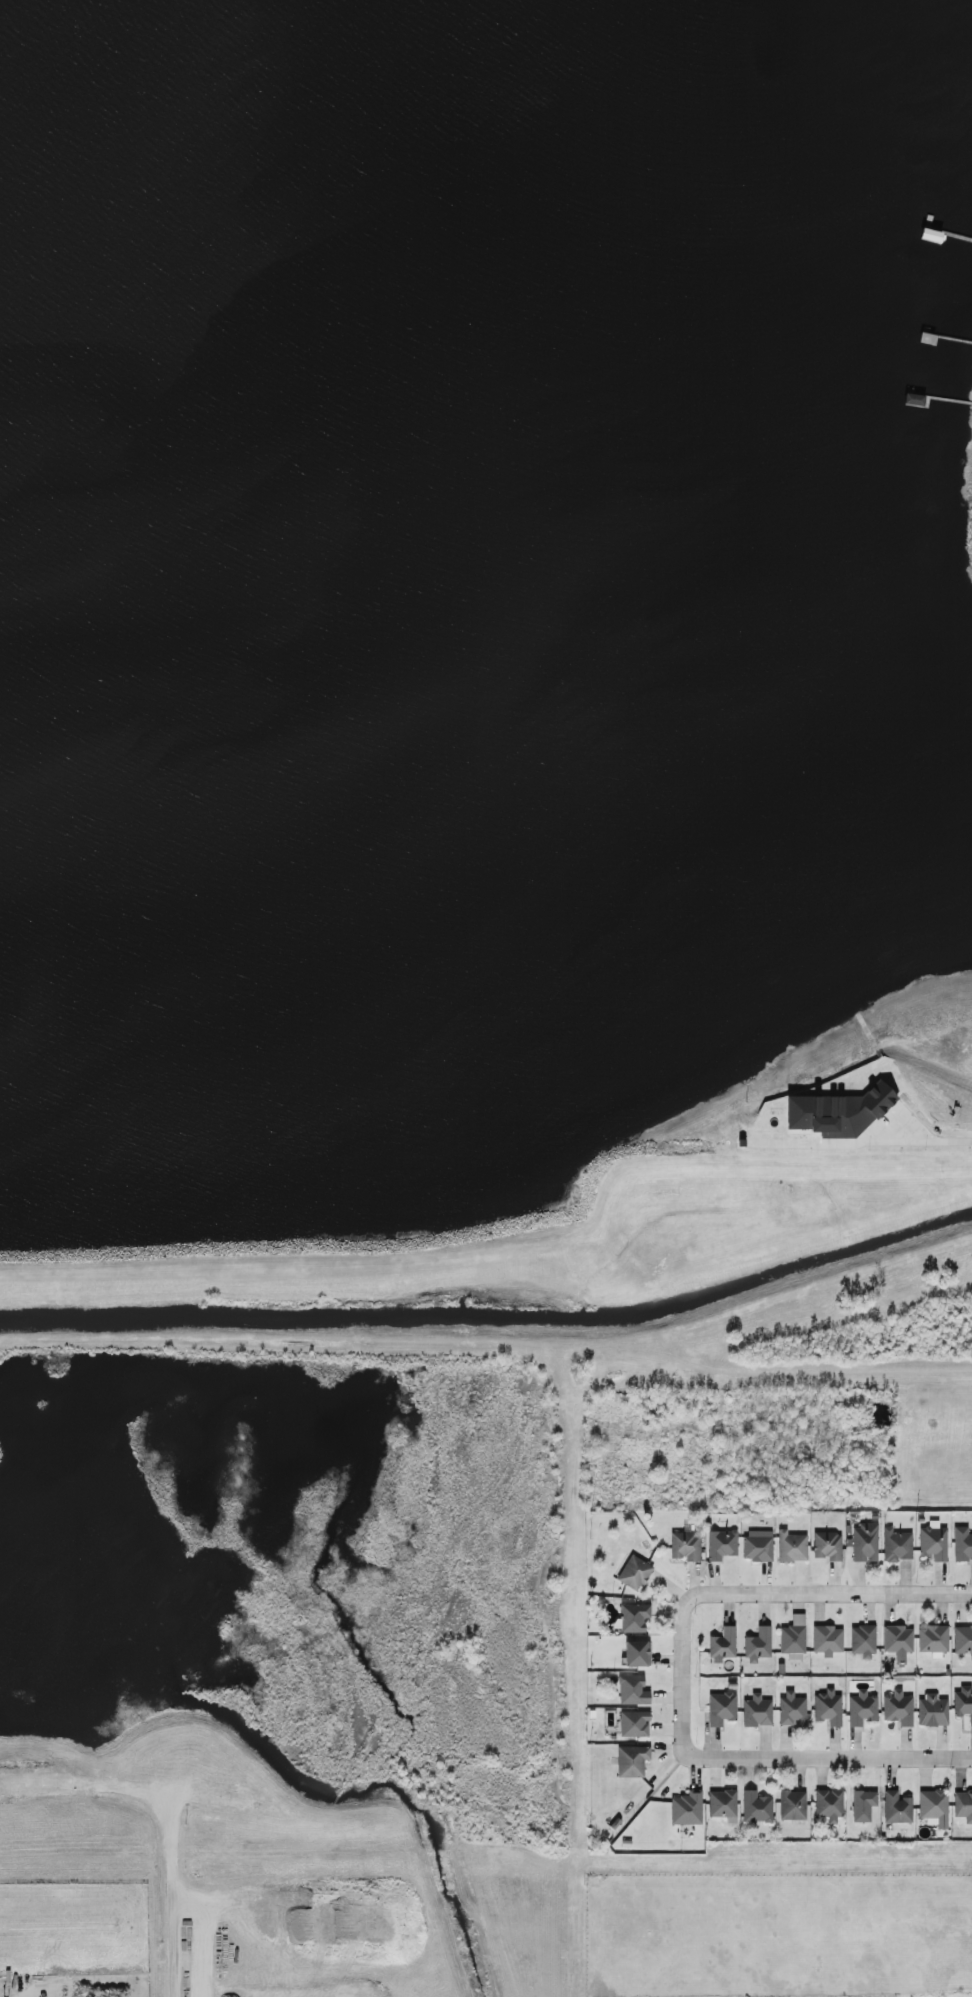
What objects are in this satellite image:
building: (839, 1112)
road: (928, 1128)
building: (933, 1542)
building: (865, 1543)
building: (962, 1544)
building: (722, 1545)
building: (686, 1546)
building: (758, 1546)
building: (827, 1546)
building: (897, 1546)
building: (792, 1547)
building: (634, 1573)
road: (834, 1594)
building: (634, 1618)
building: (793, 1638)
building: (933, 1639)
building: (963, 1640)
building: (828, 1641)
building: (863, 1642)
building: (898, 1642)
building: (723, 1645)
building: (758, 1645)
building: (637, 1654)
road: (685, 1671)
building: (632, 1691)
building: (963, 1703)
building: (828, 1708)
building: (721, 1709)
building: (792, 1709)
building: (862, 1709)
building: (898, 1709)
building: (932, 1711)
building: (757, 1712)
building: (634, 1724)
road: (829, 1759)
building: (632, 1761)
building: (723, 1805)
building: (829, 1805)
building: (792, 1806)
building: (863, 1806)
building: (963, 1806)
building: (756, 1808)
building: (897, 1808)
building: (934, 1808)
building: (687, 1809)

